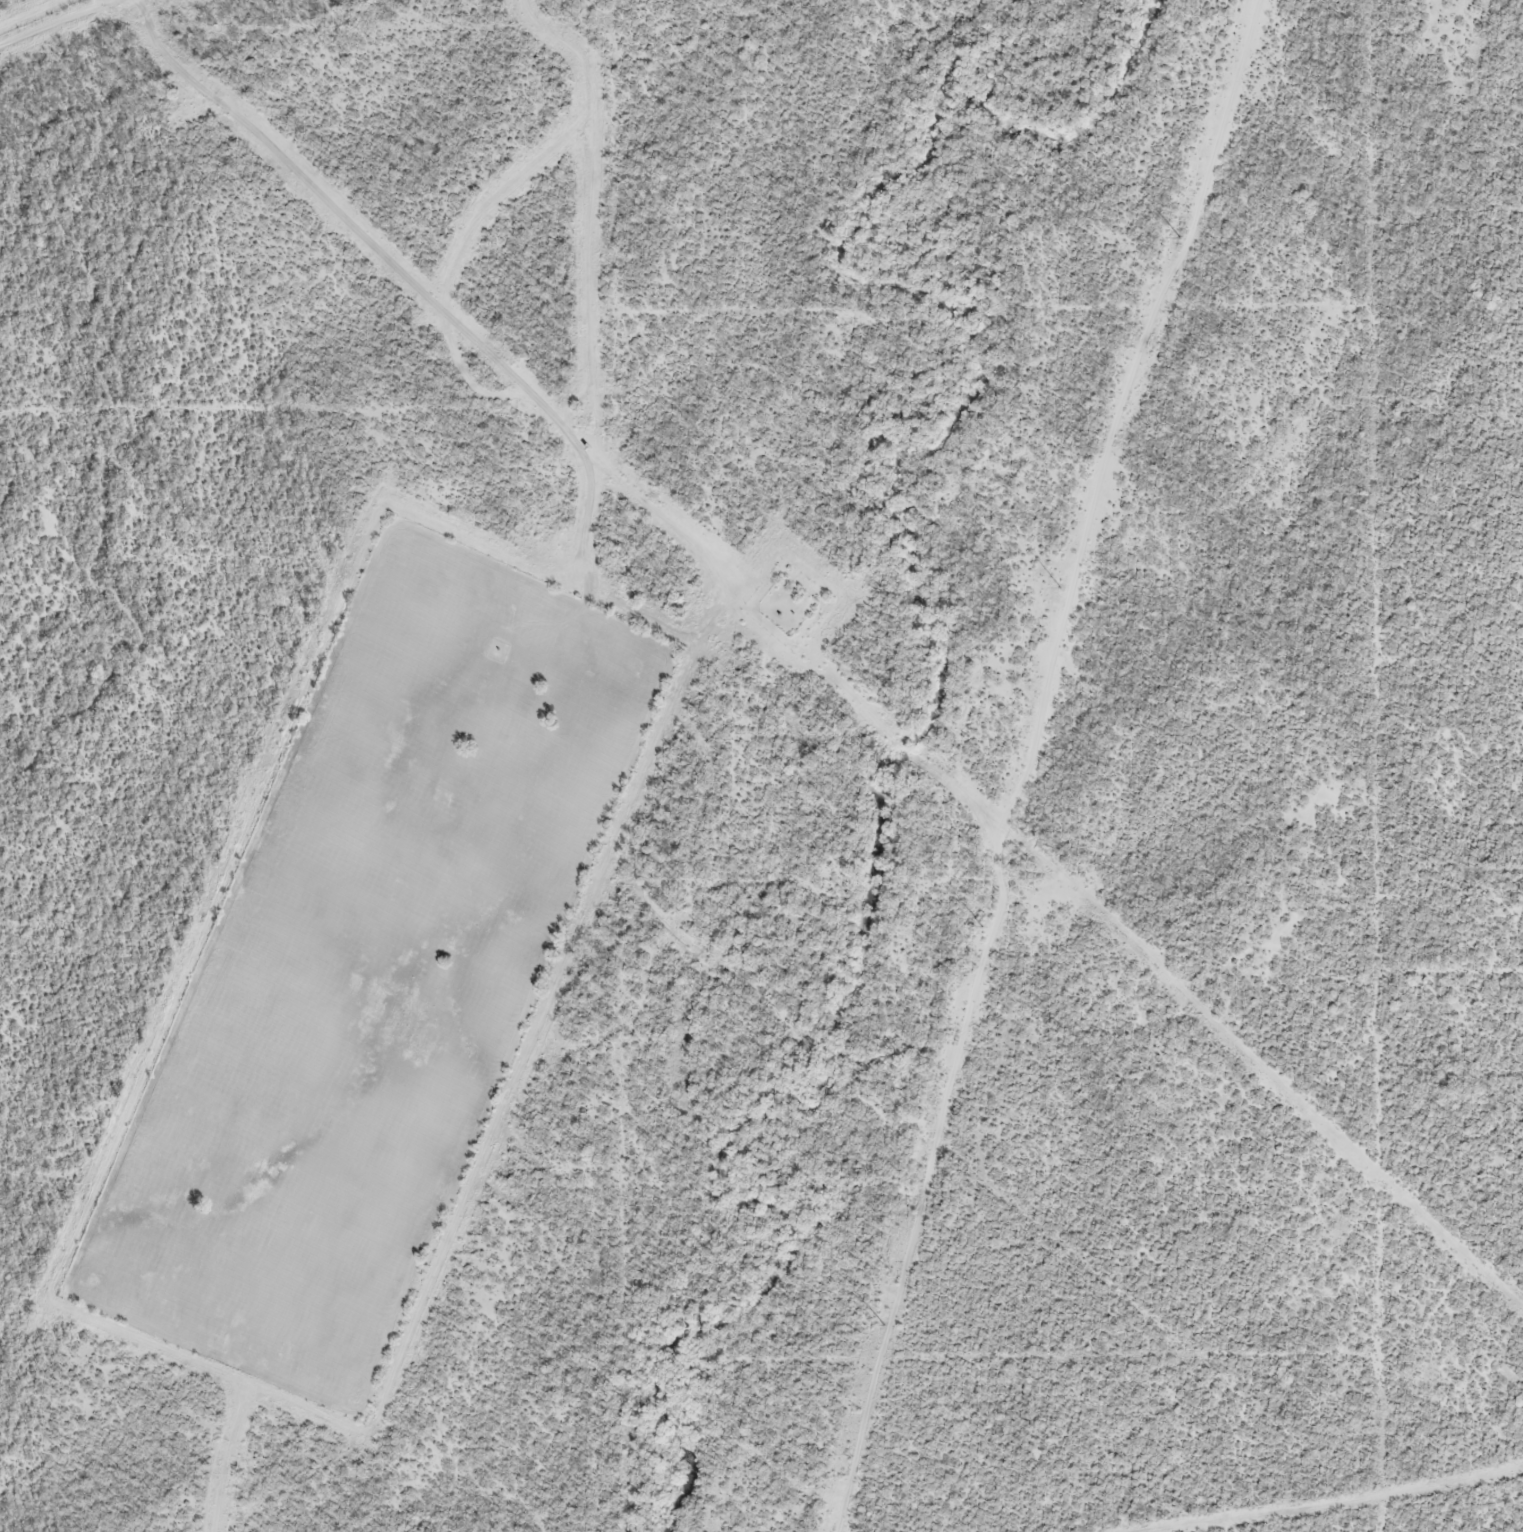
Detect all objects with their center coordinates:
power tower: (1178, 238)
power tower: (1059, 588)
power tower: (981, 927)
power tower: (882, 1327)

